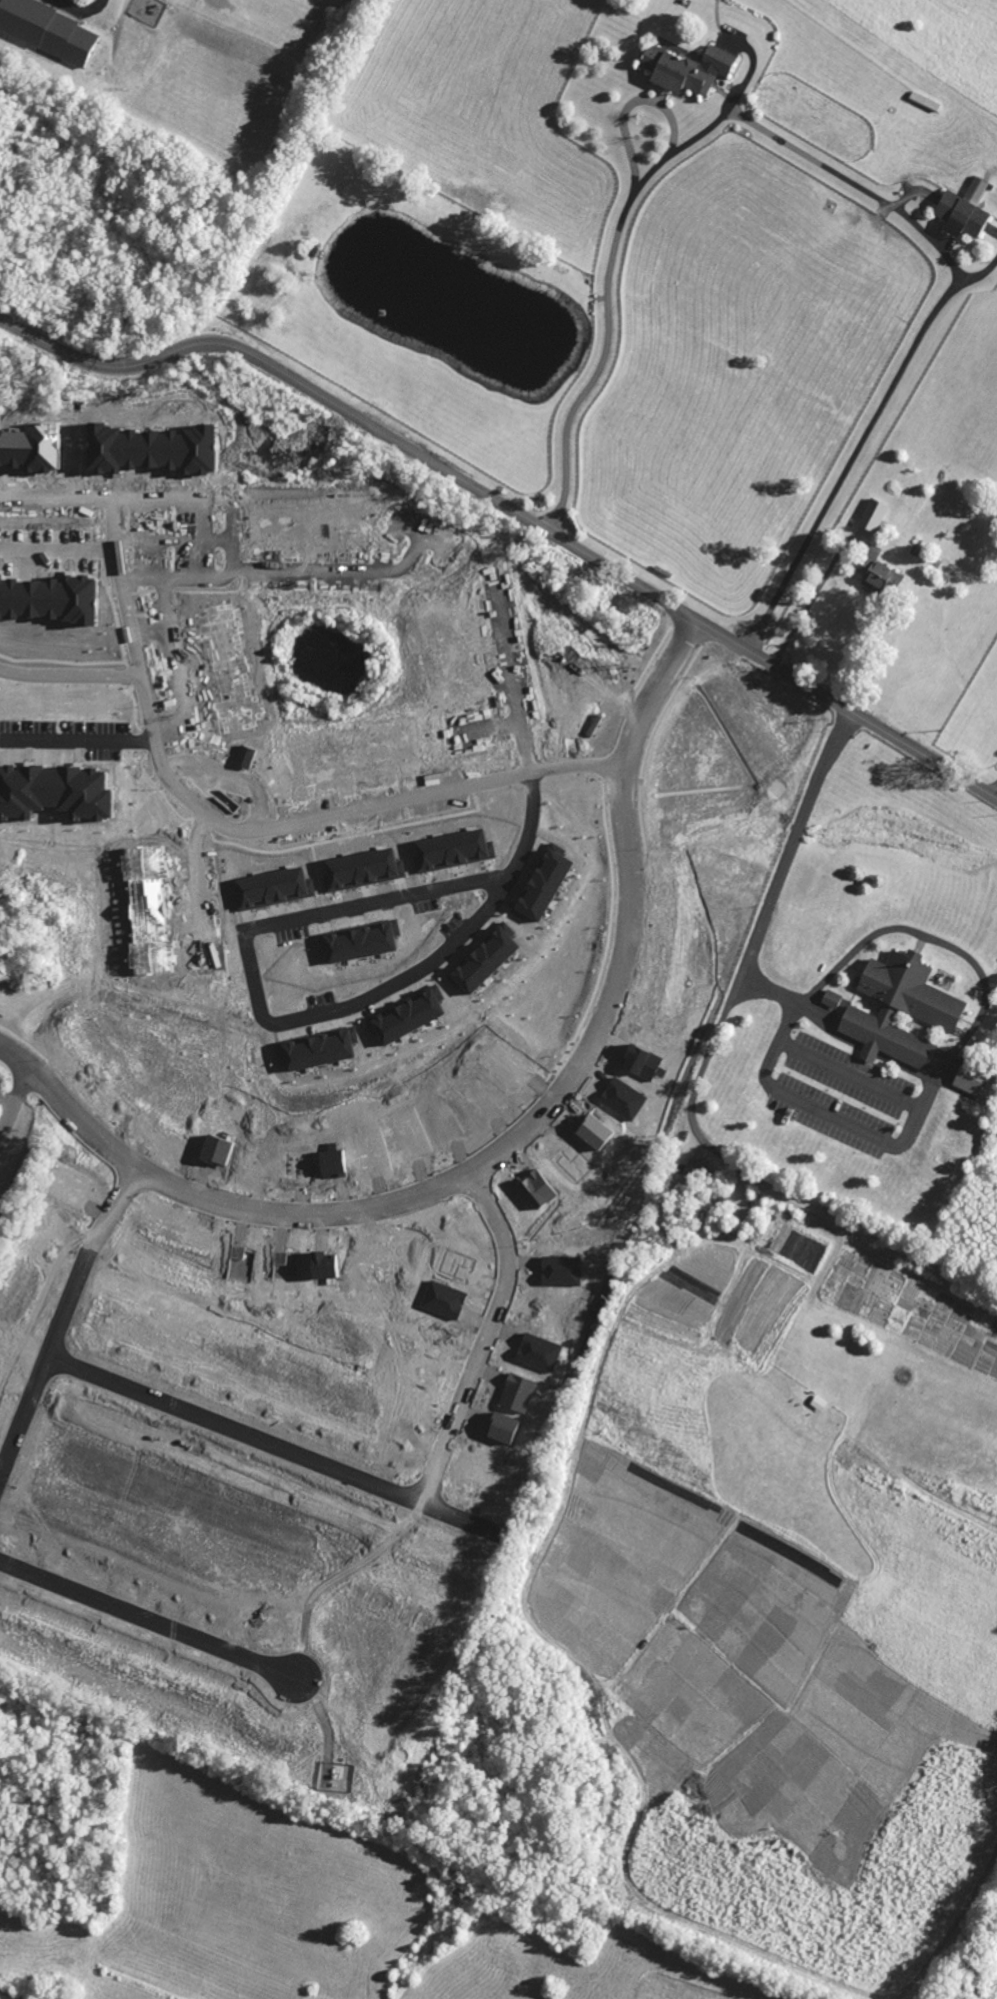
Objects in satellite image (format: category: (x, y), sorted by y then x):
road: (78, 7)
building: (49, 30)
building: (684, 69)
road: (636, 102)
building: (963, 211)
road: (946, 299)
road: (599, 367)
road: (56, 496)
road: (508, 509)
building: (873, 515)
road: (247, 570)
building: (879, 577)
road: (180, 580)
road: (814, 593)
building: (40, 628)
road: (70, 676)
road: (511, 677)
road: (488, 729)
road: (77, 737)
road: (226, 779)
building: (55, 791)
road: (994, 791)
road: (530, 825)
road: (245, 828)
road: (199, 885)
road: (892, 929)
road: (255, 991)
building: (830, 998)
building: (933, 1012)
building: (969, 1077)
road: (12, 1095)
road: (5, 1099)
road: (831, 1113)
road: (698, 1130)
road: (510, 1146)
building: (696, 1172)
road: (61, 1317)
road: (484, 1338)
road: (270, 1443)
road: (146, 1616)
road: (16, 1992)

